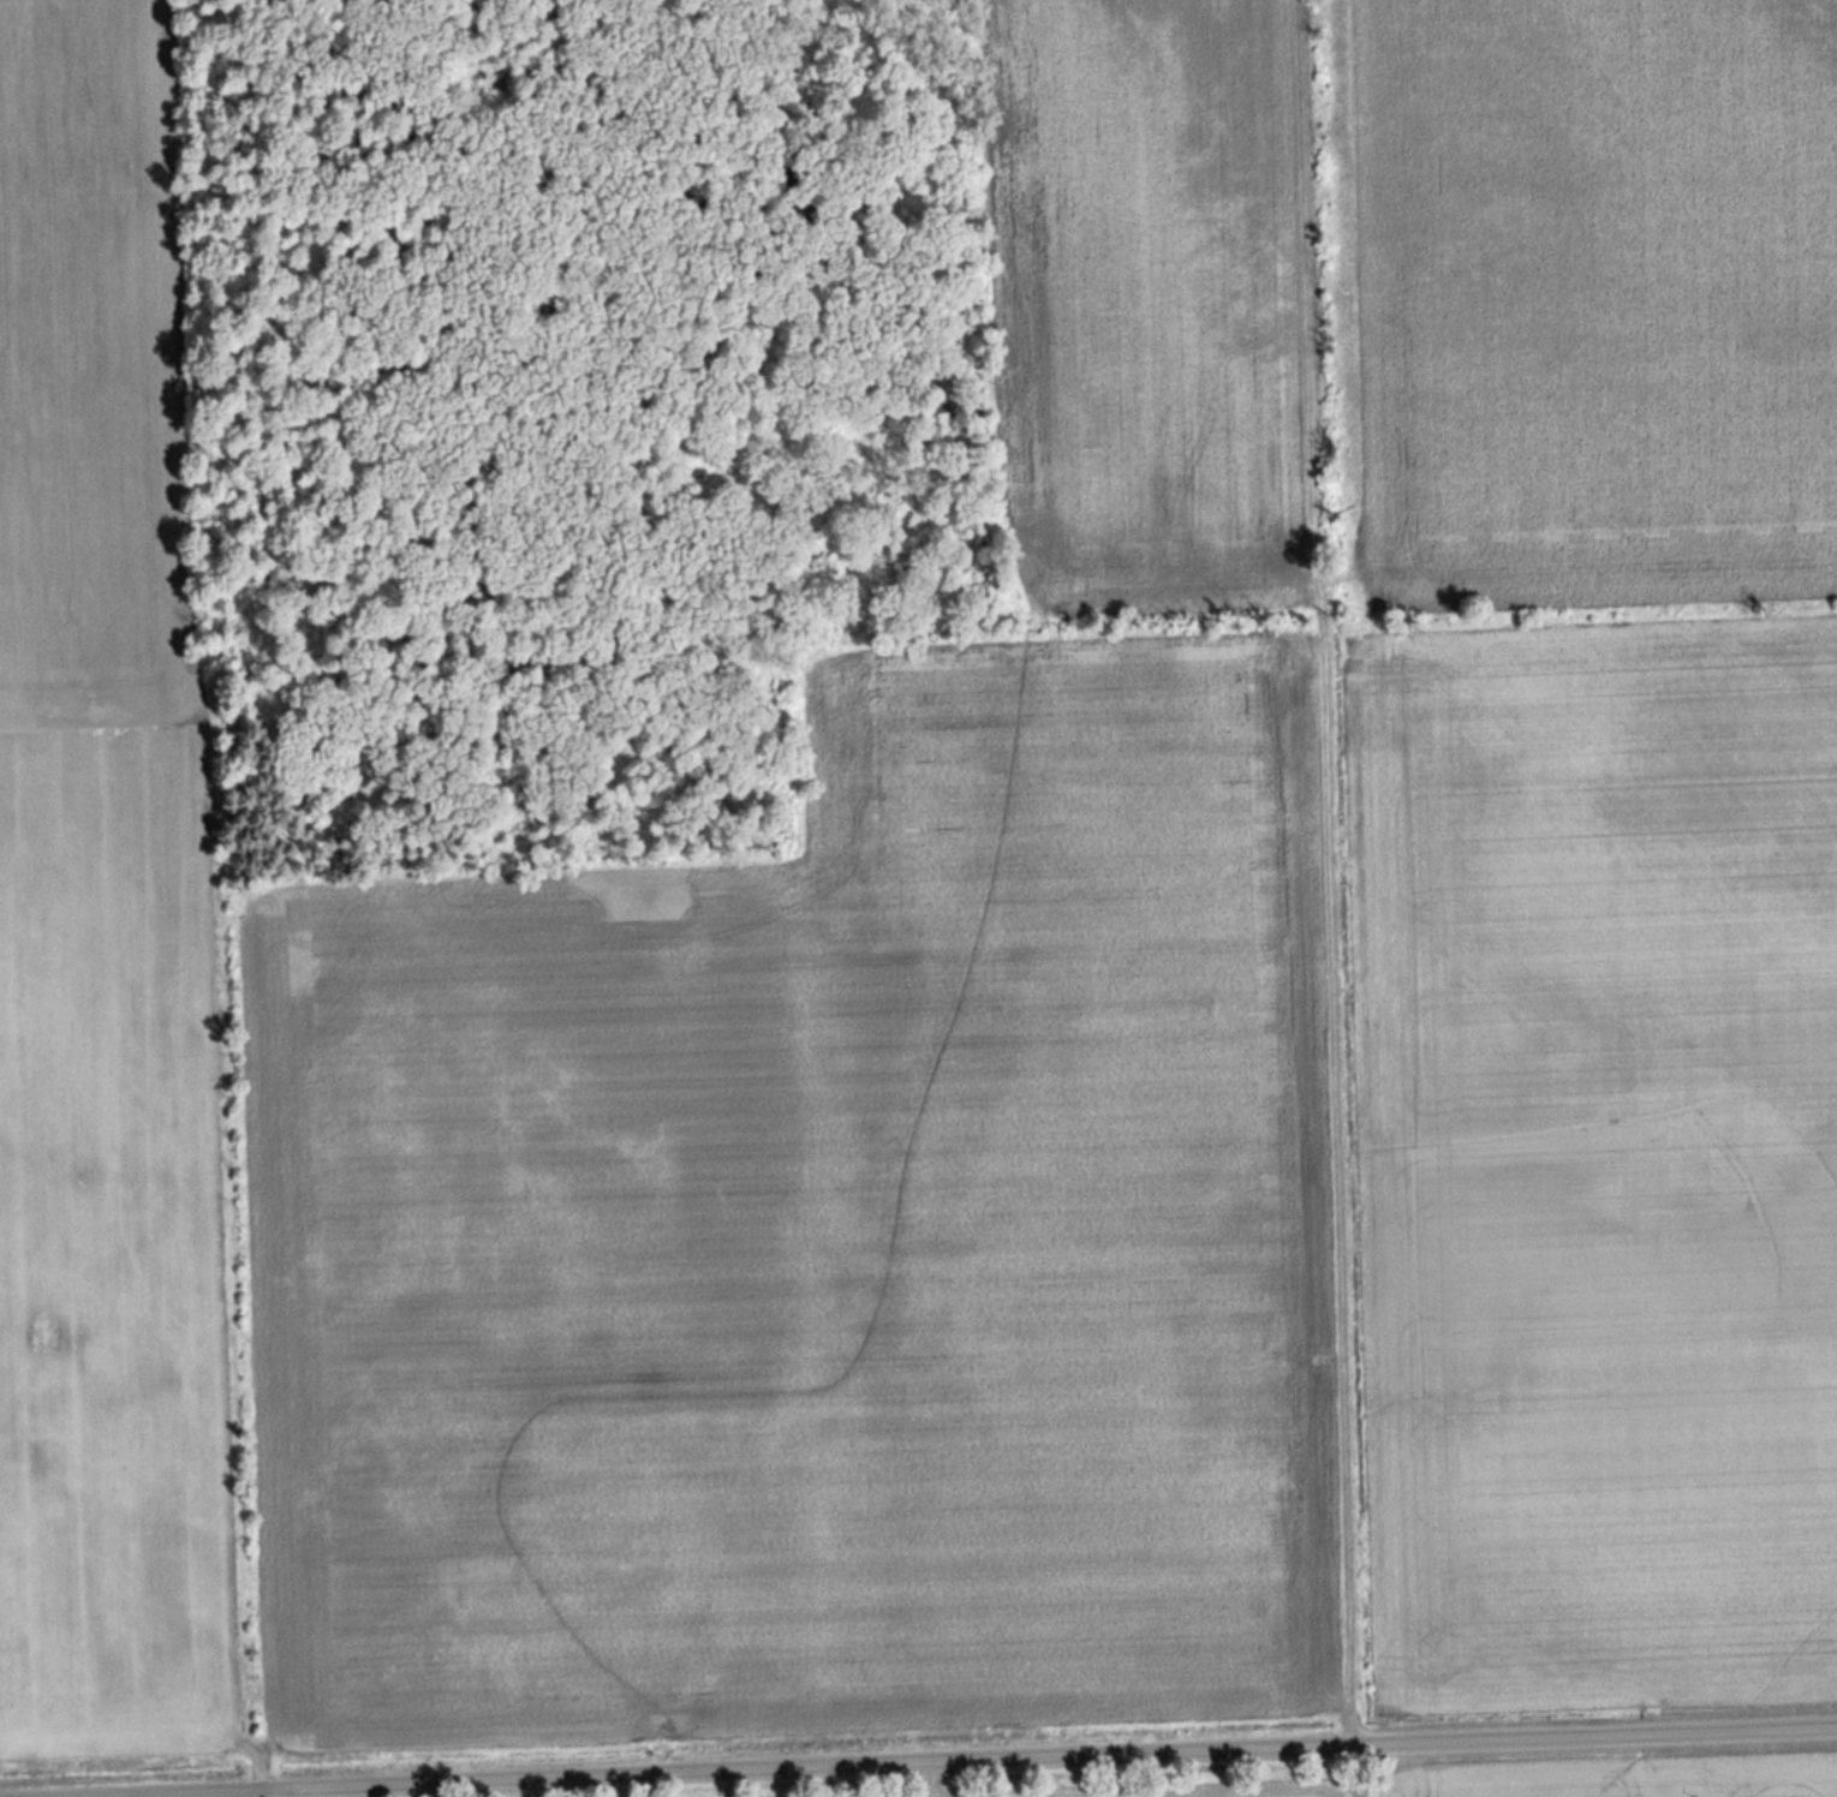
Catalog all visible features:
road: (918, 1759)
road: (244, 1790)

